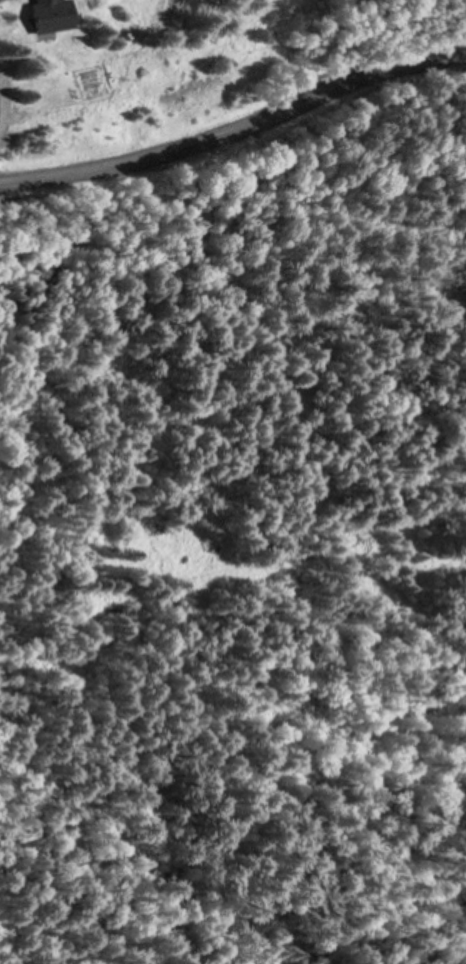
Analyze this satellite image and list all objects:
building: (53, 16)
road: (236, 130)
road: (9, 649)

